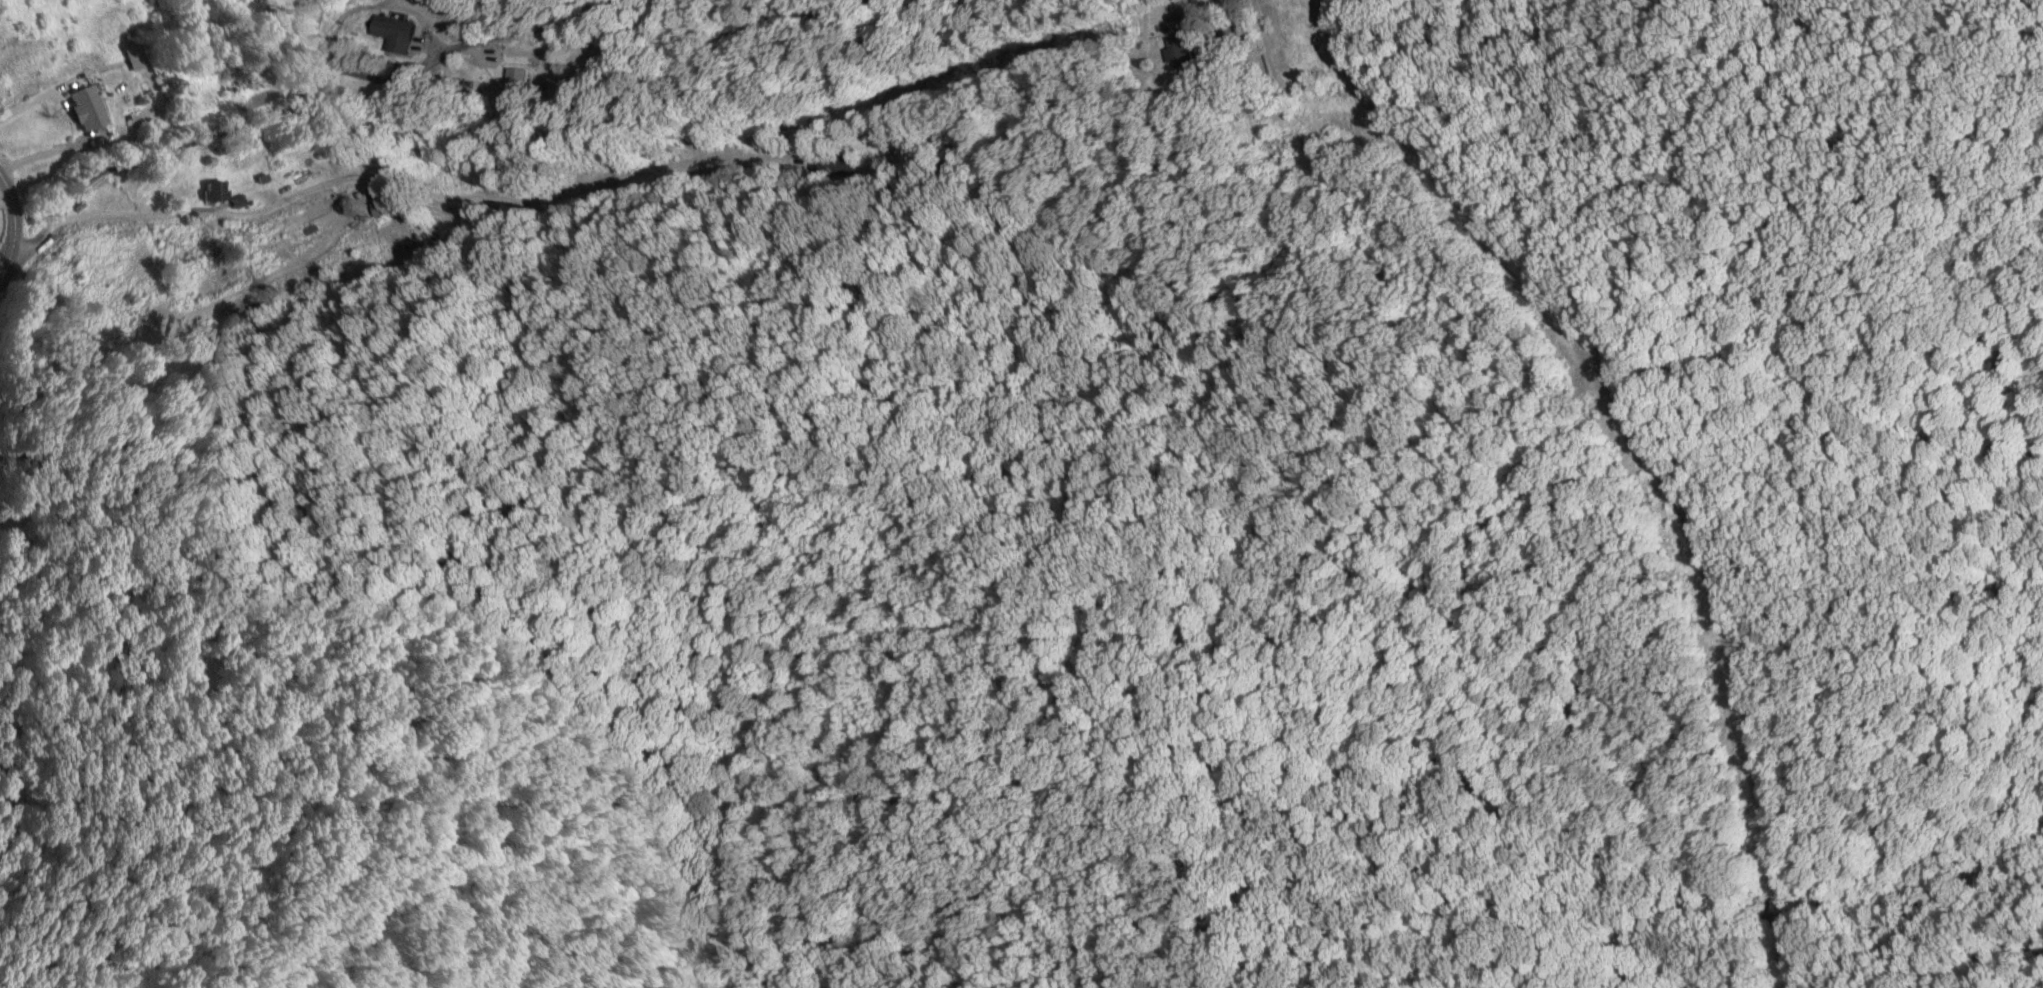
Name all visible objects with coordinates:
road: (806, 12)
building: (1176, 21)
building: (400, 32)
building: (1182, 48)
building: (234, 81)
building: (520, 83)
road: (304, 87)
building: (89, 108)
building: (217, 191)
building: (381, 206)
road: (175, 219)
road: (11, 231)

